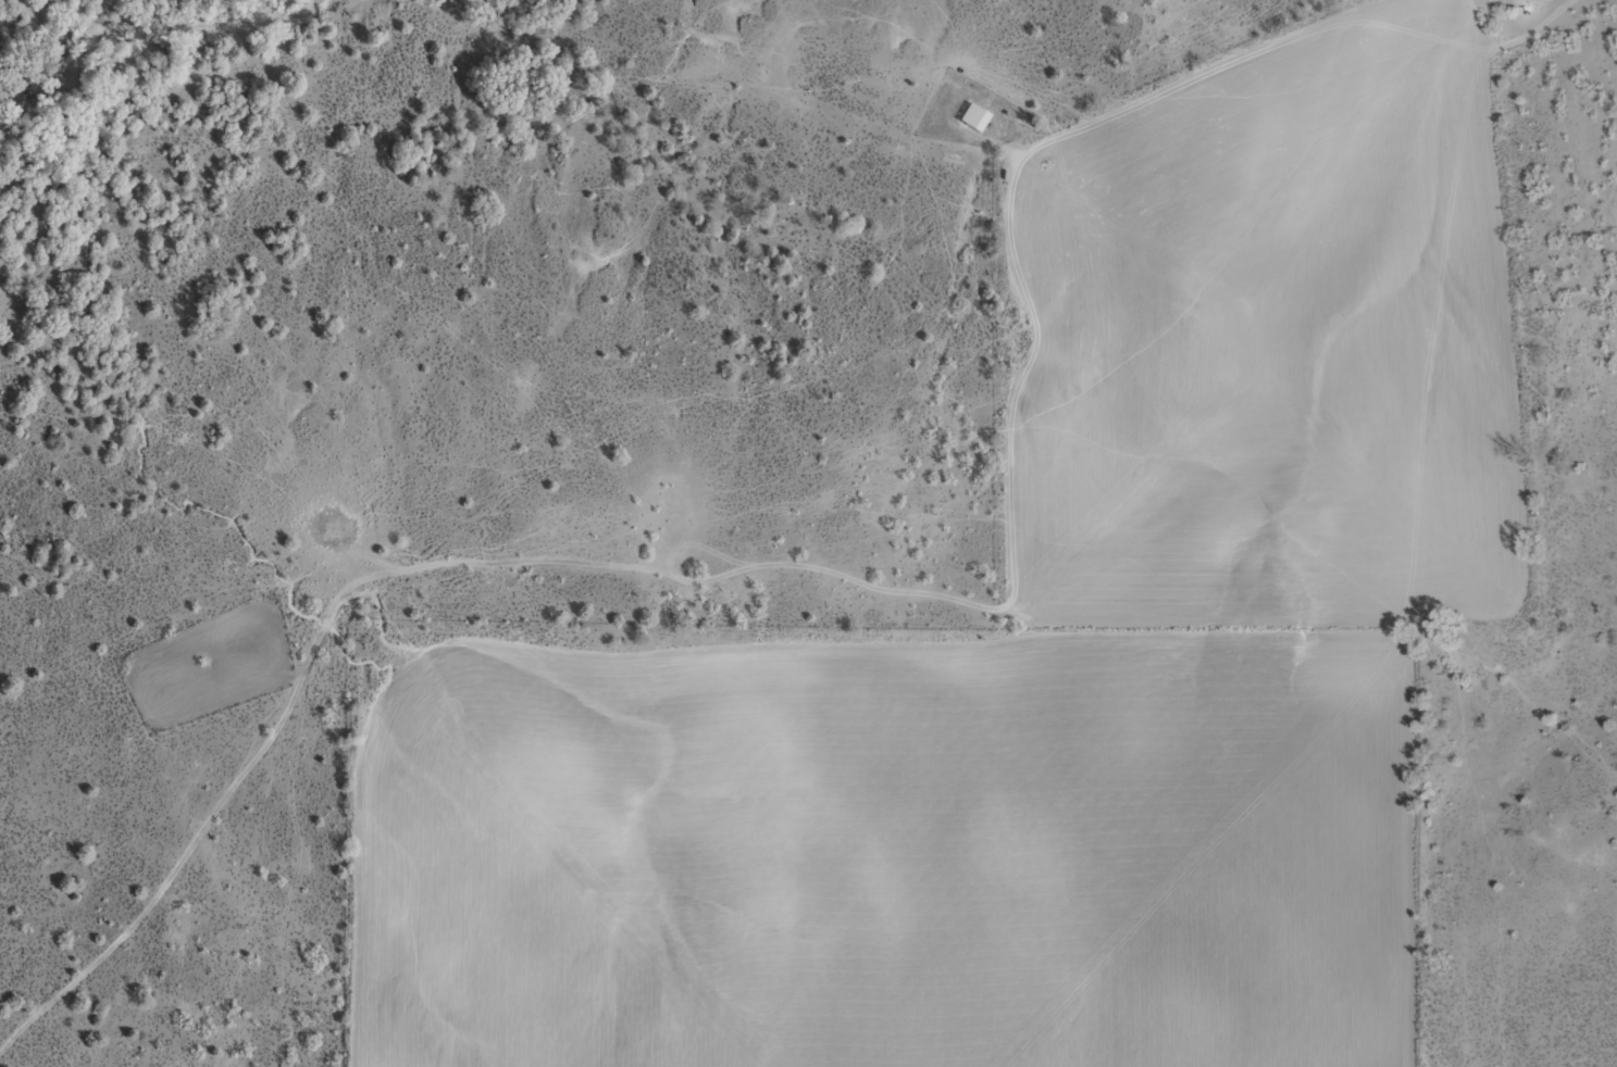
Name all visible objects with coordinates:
crop: (808, 533)

